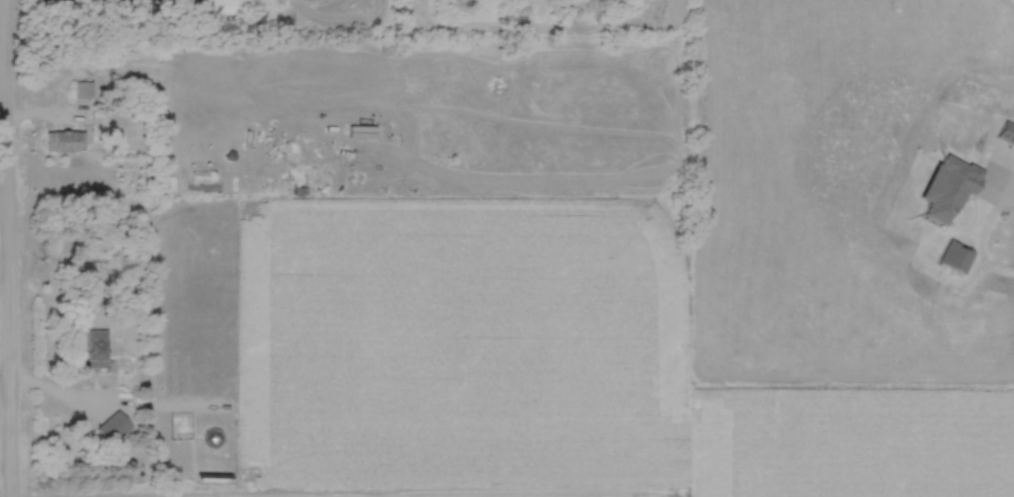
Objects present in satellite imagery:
road: (75, 1)
building: (226, 8)
building: (83, 92)
road: (52, 114)
building: (64, 143)
road: (8, 213)
road: (980, 237)
road: (5, 274)
building: (93, 350)
road: (58, 392)
road: (5, 428)
building: (114, 429)
road: (5, 449)
road: (11, 462)

